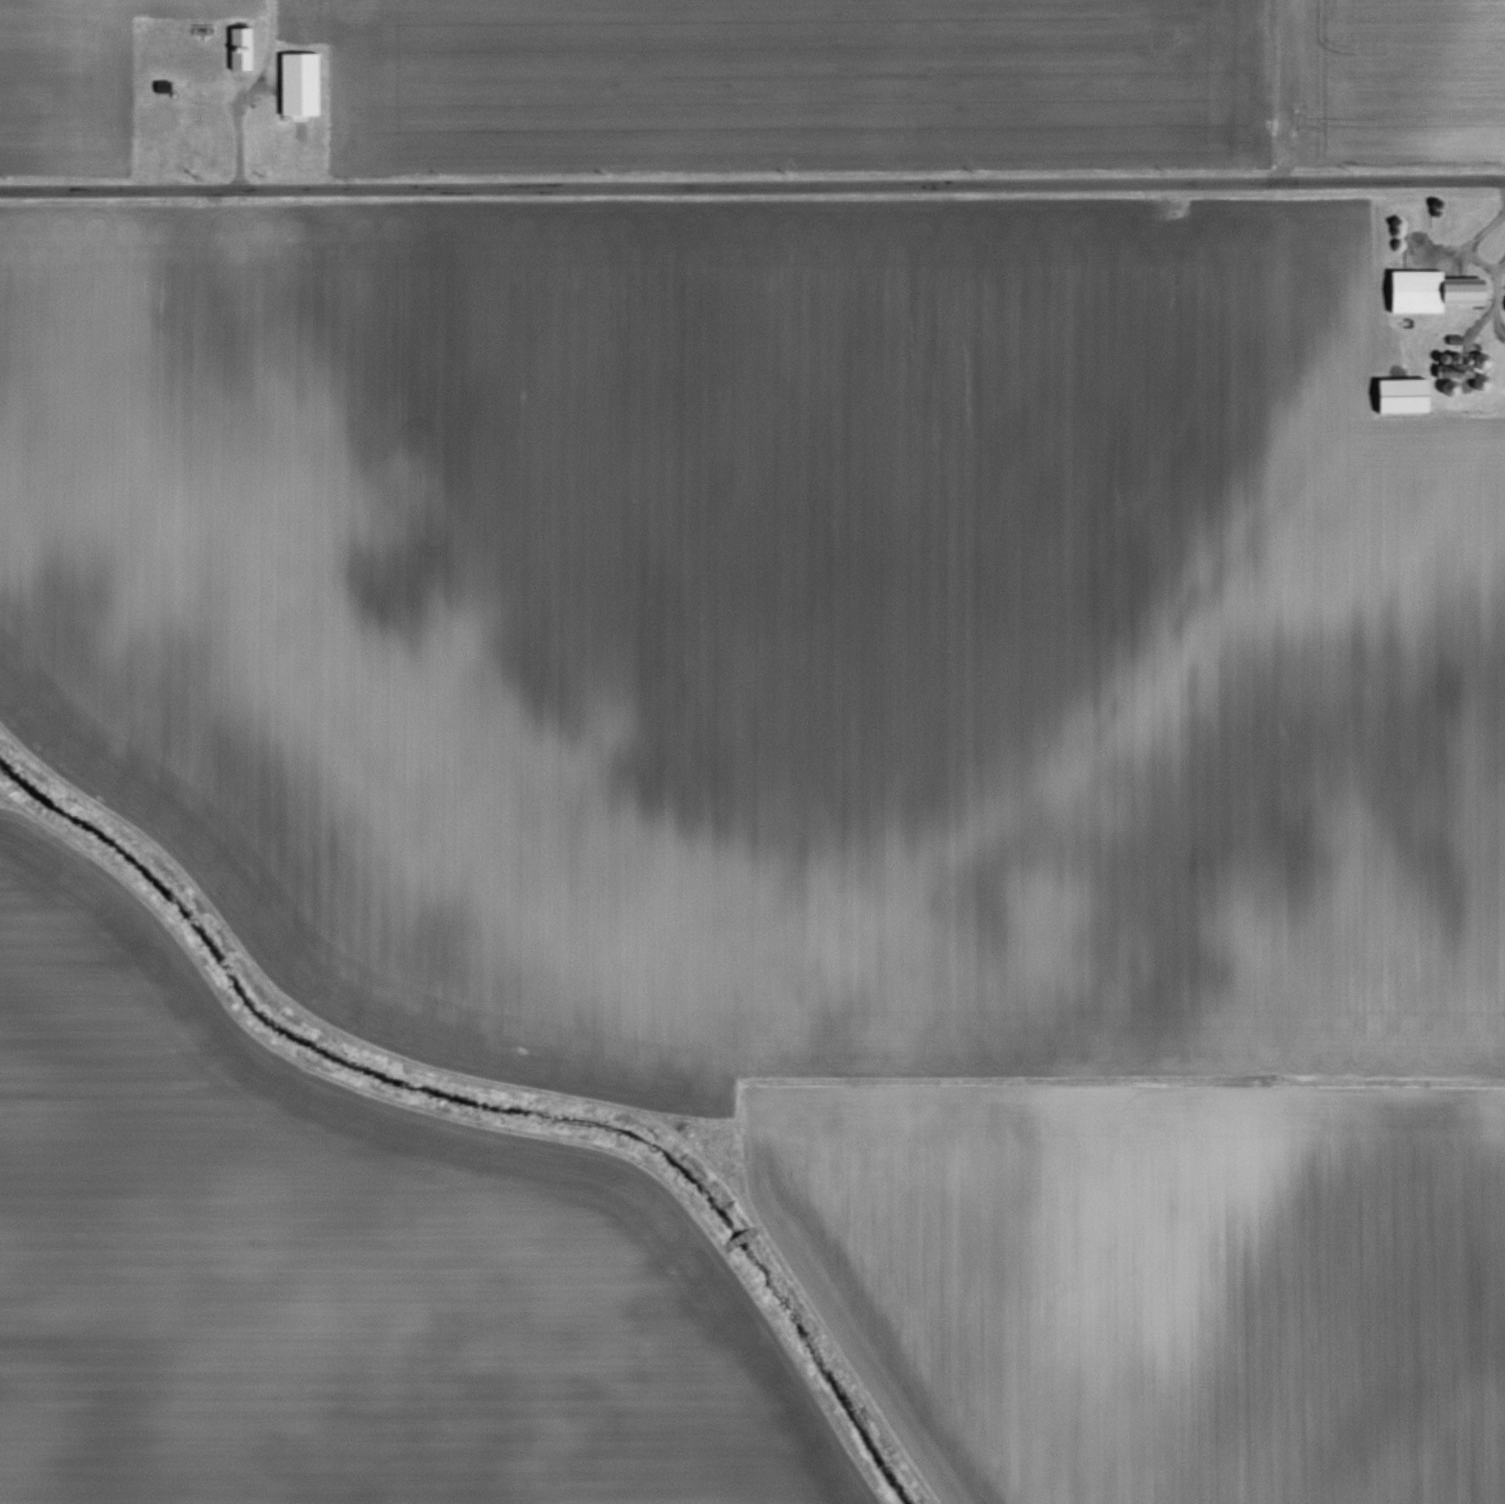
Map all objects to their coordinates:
building: (240, 46)
road: (752, 183)
road: (1502, 195)
road: (1470, 238)
road: (1494, 288)
building: (1432, 289)

